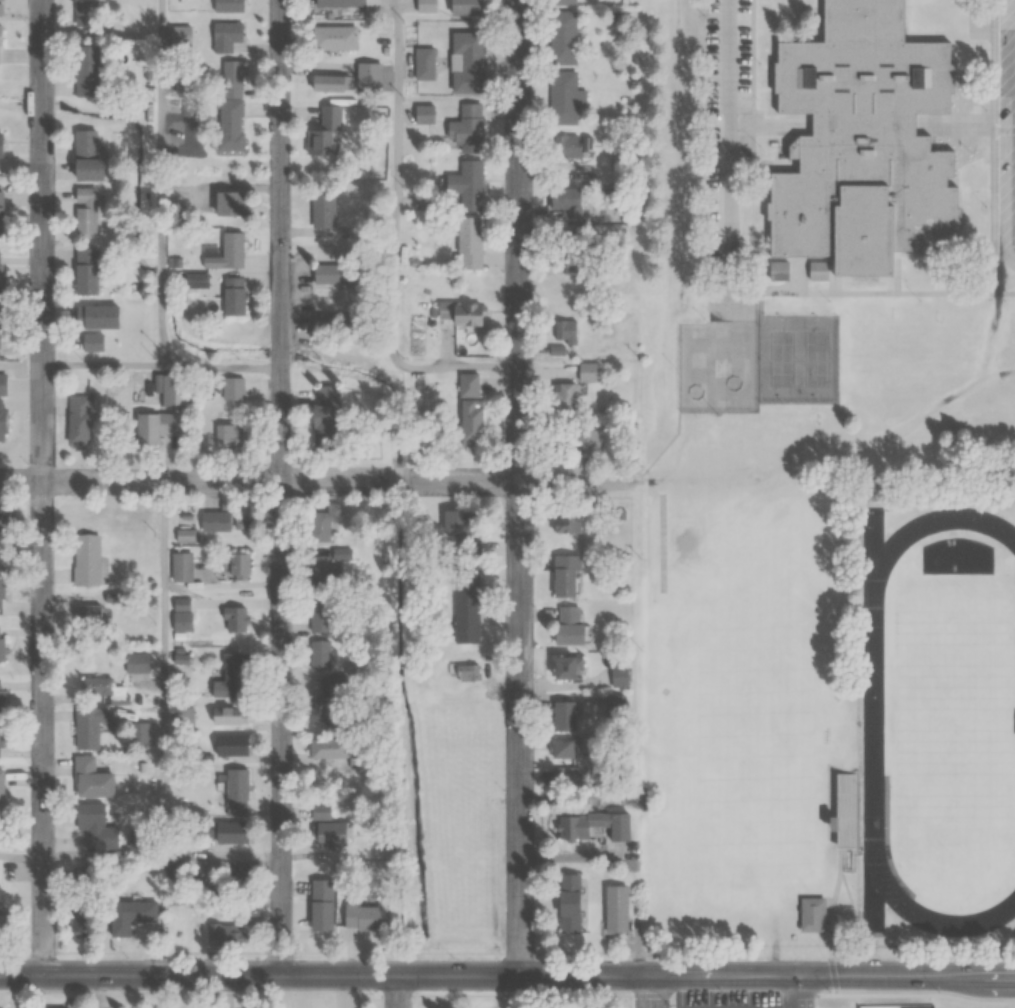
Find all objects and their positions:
building: (562, 2)
building: (338, 3)
building: (228, 6)
building: (422, 6)
building: (462, 7)
building: (1, 8)
building: (86, 17)
building: (225, 36)
building: (562, 37)
building: (333, 38)
building: (466, 61)
building: (423, 63)
building: (85, 71)
building: (368, 76)
building: (329, 83)
building: (565, 97)
building: (230, 105)
building: (420, 114)
building: (466, 128)
building: (325, 132)
road: (725, 140)
building: (860, 140)
building: (1, 145)
building: (567, 145)
building: (85, 155)
road: (162, 184)
building: (466, 184)
building: (563, 199)
building: (230, 204)
building: (322, 206)
building: (84, 212)
building: (1, 214)
road: (395, 242)
building: (468, 243)
building: (227, 252)
building: (567, 255)
building: (777, 270)
building: (85, 271)
building: (0, 274)
building: (334, 274)
building: (196, 280)
building: (233, 297)
building: (460, 313)
building: (95, 317)
building: (330, 322)
building: (0, 328)
building: (565, 330)
building: (92, 342)
park: (799, 357)
park: (721, 366)
road: (102, 367)
road: (222, 368)
building: (588, 372)
building: (2, 385)
building: (175, 385)
building: (233, 388)
building: (564, 394)
building: (324, 418)
building: (2, 420)
building: (78, 420)
building: (472, 422)
building: (153, 427)
building: (227, 437)
building: (586, 441)
road: (315, 480)
road: (282, 487)
road: (520, 487)
road: (42, 488)
building: (874, 489)
building: (5, 518)
building: (241, 518)
building: (214, 521)
building: (324, 521)
building: (566, 522)
building: (185, 535)
building: (470, 542)
building: (86, 559)
building: (237, 566)
building: (181, 567)
building: (322, 570)
building: (565, 575)
building: (1, 587)
building: (467, 606)
building: (181, 614)
building: (87, 615)
building: (233, 619)
building: (567, 625)
building: (1, 644)
building: (320, 655)
building: (136, 662)
building: (566, 667)
building: (619, 676)
building: (229, 678)
building: (102, 689)
building: (325, 695)
building: (1, 698)
building: (228, 716)
building: (563, 716)
park: (954, 718)
track: (870, 720)
building: (88, 727)
road: (164, 728)
building: (1, 739)
building: (230, 745)
building: (327, 747)
building: (562, 748)
building: (92, 779)
building: (236, 792)
building: (1, 794)
building: (843, 812)
building: (572, 826)
building: (96, 827)
building: (326, 827)
building: (622, 831)
building: (226, 832)
road: (21, 854)
building: (568, 903)
building: (321, 905)
building: (616, 910)
building: (361, 913)
building: (811, 913)
building: (130, 915)
building: (1, 921)
building: (228, 935)
road: (507, 975)
road: (399, 991)
road: (652, 991)
road: (851, 992)
park: (526, 1002)
street lamp: (670, 1005)

